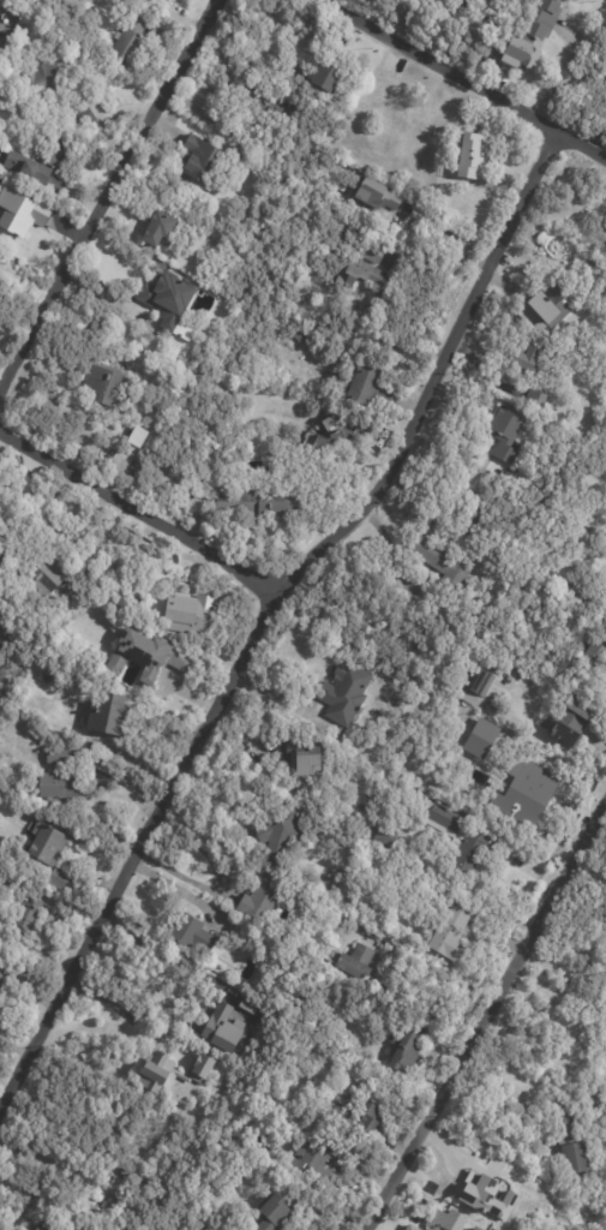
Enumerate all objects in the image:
building: (533, 36)
building: (127, 40)
building: (47, 77)
building: (325, 77)
road: (560, 78)
road: (461, 83)
building: (268, 108)
building: (82, 117)
building: (470, 156)
building: (40, 162)
building: (199, 162)
building: (376, 195)
road: (112, 197)
building: (13, 213)
building: (156, 229)
building: (602, 233)
road: (455, 238)
building: (372, 253)
building: (358, 274)
building: (166, 295)
building: (554, 305)
building: (298, 335)
building: (523, 359)
building: (98, 384)
building: (364, 394)
building: (536, 401)
building: (504, 435)
building: (337, 438)
building: (558, 472)
building: (154, 473)
building: (258, 503)
road: (148, 512)
building: (468, 517)
building: (0, 544)
building: (439, 562)
road: (314, 568)
building: (50, 575)
building: (598, 583)
building: (570, 593)
building: (187, 616)
building: (452, 640)
building: (145, 657)
building: (592, 658)
building: (43, 679)
building: (461, 688)
building: (475, 688)
building: (343, 694)
building: (104, 715)
building: (461, 718)
building: (571, 723)
road: (550, 739)
building: (60, 759)
building: (296, 759)
building: (56, 787)
building: (528, 798)
building: (442, 820)
building: (280, 835)
building: (384, 837)
building: (43, 846)
building: (467, 852)
road: (188, 878)
building: (56, 880)
road: (186, 892)
building: (259, 901)
building: (23, 922)
building: (395, 922)
building: (188, 935)
building: (449, 935)
building: (354, 965)
building: (0, 977)
road: (427, 1001)
building: (247, 1007)
road: (122, 1011)
road: (484, 1014)
building: (220, 1032)
road: (17, 1051)
building: (403, 1058)
road: (34, 1061)
building: (169, 1073)
building: (595, 1098)
building: (342, 1103)
building: (522, 1109)
building: (366, 1122)
building: (566, 1127)
building: (574, 1157)
building: (317, 1164)
building: (118, 1170)
building: (588, 1177)
building: (485, 1196)
building: (272, 1217)
building: (36, 1229)
building: (65, 1229)

